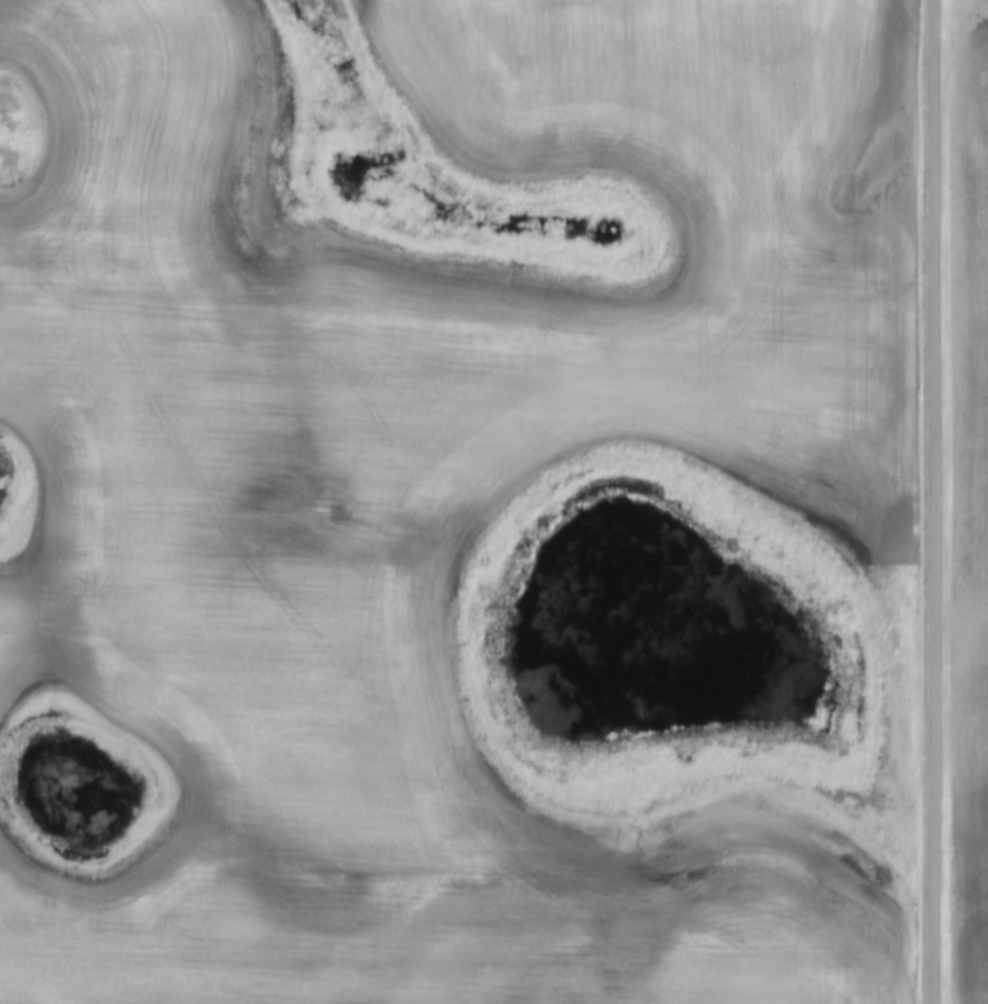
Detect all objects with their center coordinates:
road: (942, 502)

